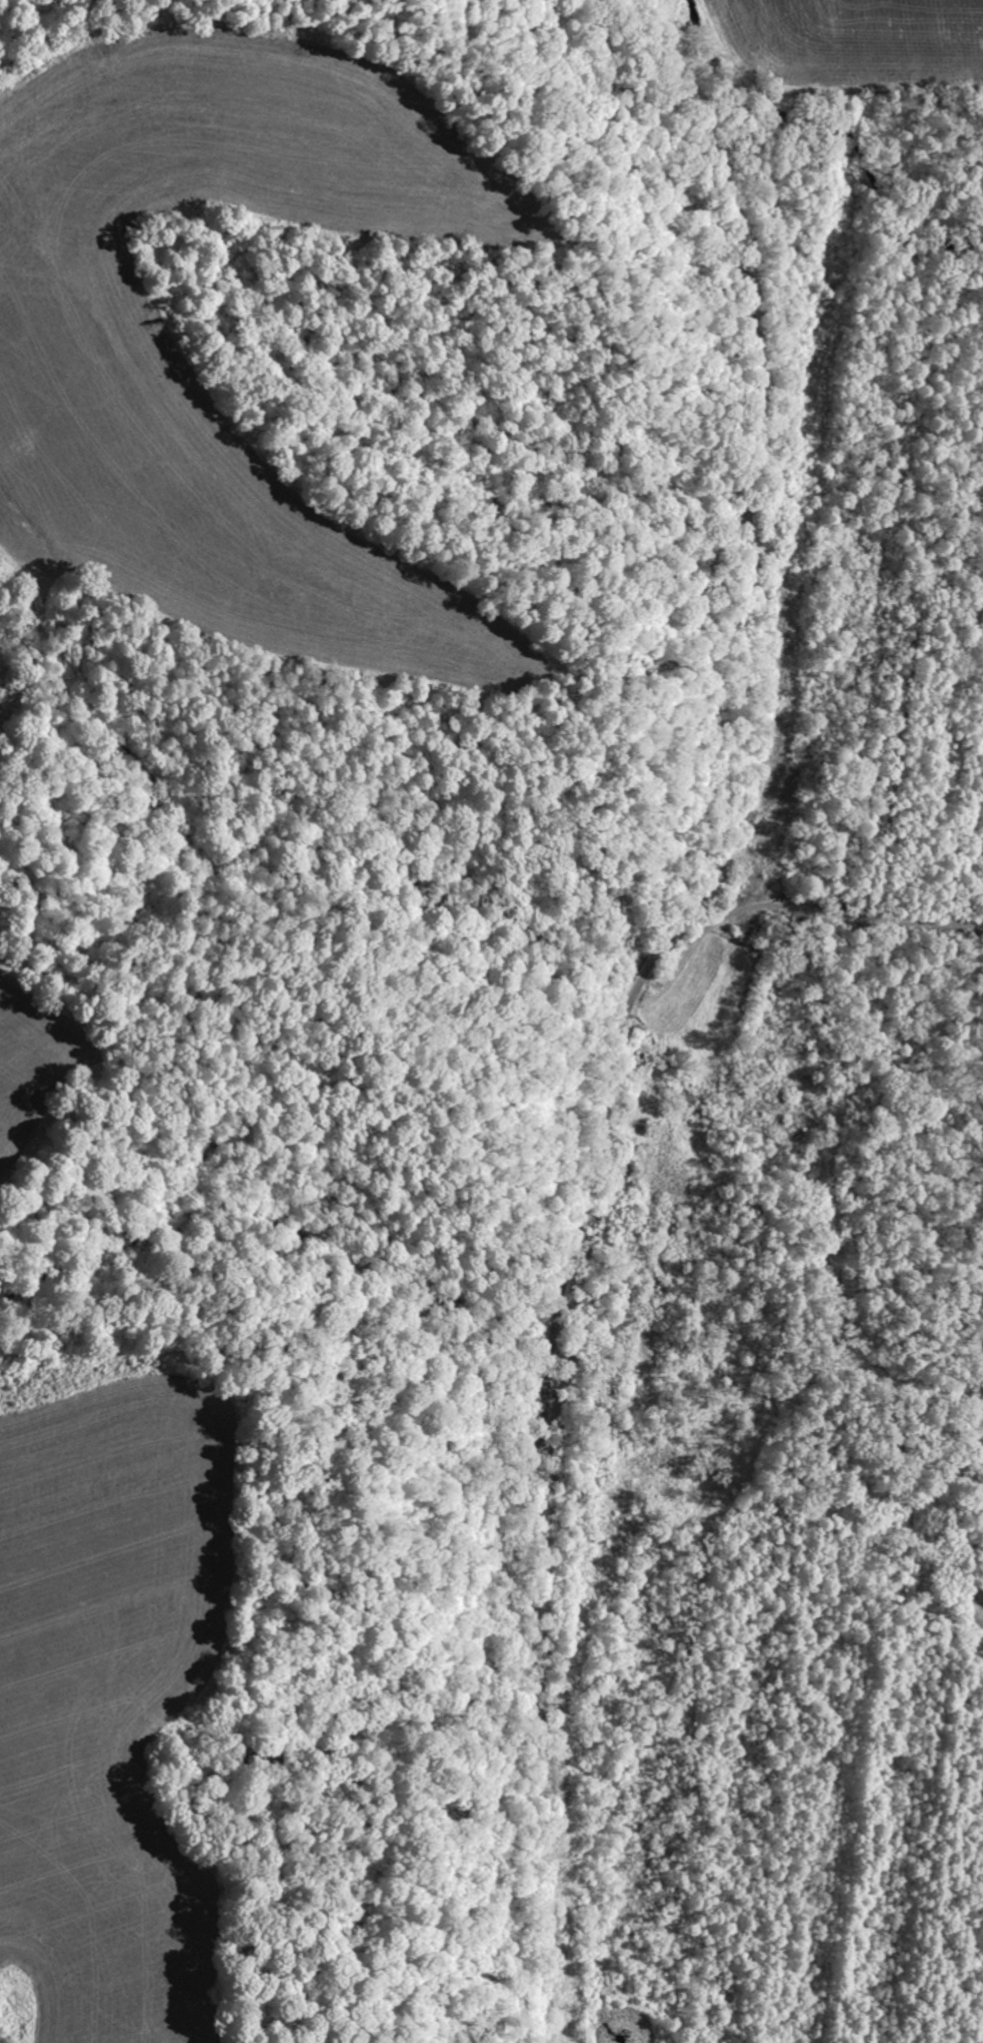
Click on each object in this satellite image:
road: (636, 991)

